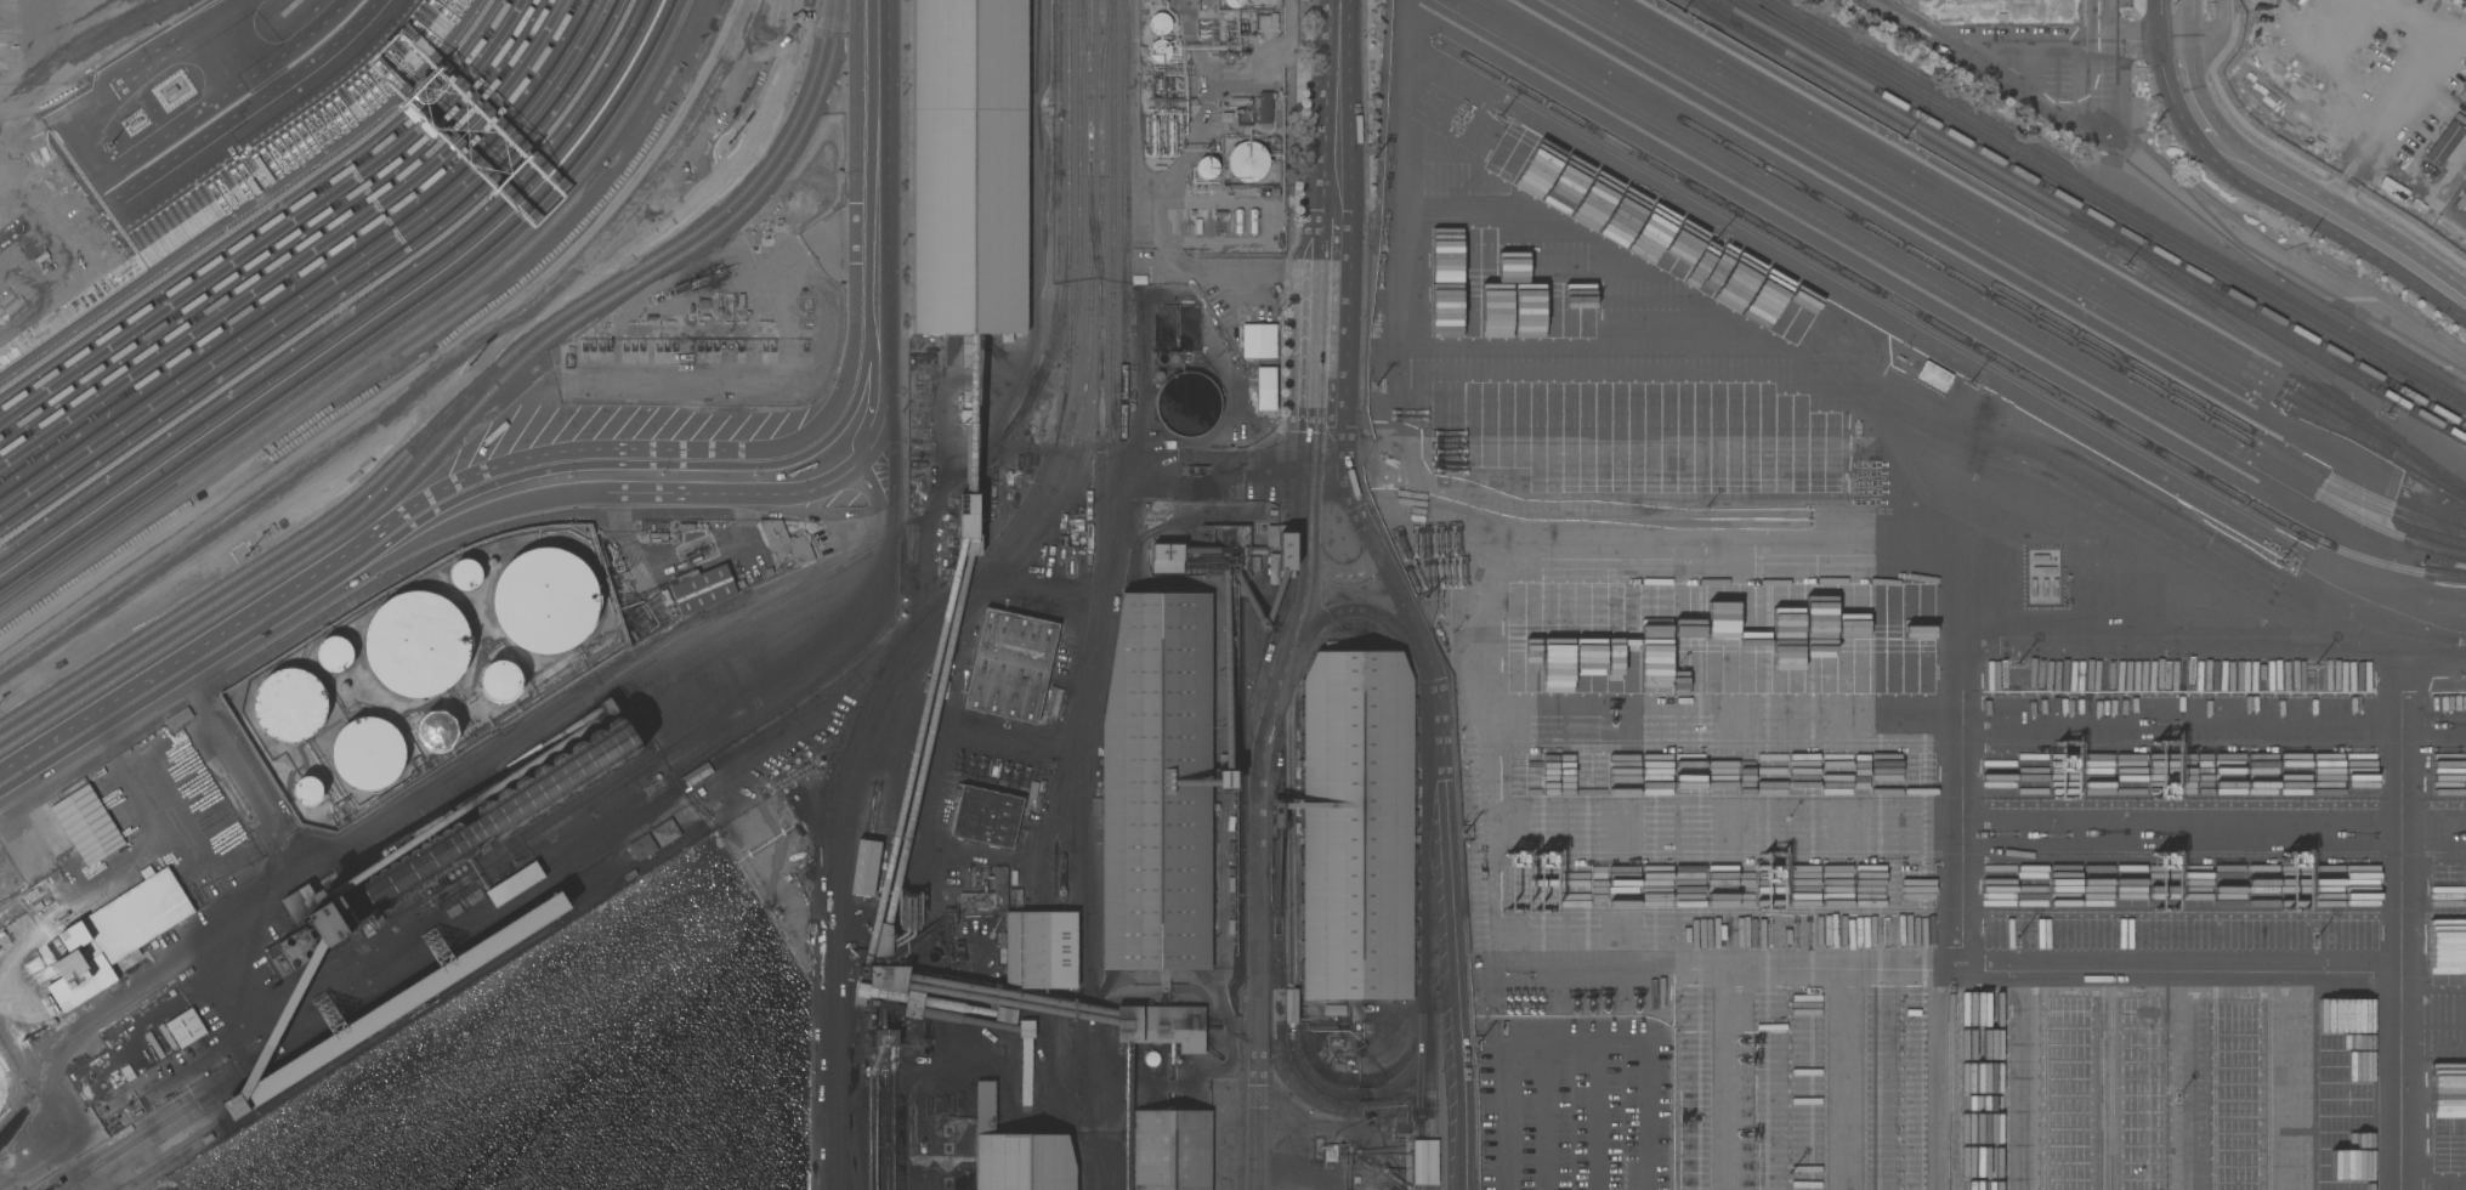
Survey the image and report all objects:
building: (1235, 2)
railway: (1719, 12)
building: (1160, 23)
road: (2165, 23)
road: (2186, 23)
road: (2210, 33)
road: (2119, 44)
railway: (1089, 47)
railway: (1109, 47)
road: (2030, 47)
building: (1160, 50)
road: (2188, 92)
road: (2025, 93)
building: (2464, 96)
building: (1265, 109)
street lamp: (1503, 115)
street lamp: (1901, 137)
building: (2444, 142)
building: (1248, 160)
building: (970, 166)
building: (1207, 166)
road: (1338, 182)
railway: (2074, 182)
railway: (1082, 193)
railway: (2121, 195)
building: (2461, 203)
railway: (2091, 212)
railway: (2081, 219)
building: (1237, 220)
railway: (2009, 220)
building: (1253, 221)
railway: (1071, 225)
railway: (1093, 225)
road: (2337, 226)
railway: (1983, 229)
street lamp: (1717, 238)
railway: (1098, 240)
railway: (1099, 240)
railway: (2033, 246)
street lamp: (2127, 265)
railway: (1115, 266)
road: (1276, 272)
road: (1881, 273)
railway: (1977, 273)
railway: (1963, 279)
road: (2037, 283)
railway: (1952, 287)
railway: (1104, 306)
road: (1886, 321)
railway: (1943, 330)
railway: (1056, 333)
building: (1258, 340)
railway: (2290, 363)
road: (1328, 365)
building: (1934, 376)
street lamp: (1968, 382)
railway: (2430, 382)
railway: (2430, 386)
railway: (1099, 387)
building: (1265, 387)
railway: (461, 399)
railway: (1127, 399)
building: (1187, 403)
railway: (2416, 403)
road: (1889, 407)
railway: (470, 414)
road: (829, 461)
building: (355, 464)
road: (1285, 474)
railway: (965, 484)
road: (1438, 504)
building: (969, 523)
building: (1272, 535)
building: (656, 537)
building: (786, 544)
building: (1286, 550)
building: (1167, 557)
building: (1274, 568)
building: (465, 574)
road: (1344, 576)
building: (703, 588)
railway: (238, 589)
building: (1629, 594)
building: (545, 601)
road: (1357, 611)
building: (418, 644)
building: (335, 653)
railway: (1092, 658)
street lamp: (2016, 662)
street lamp: (2312, 663)
building: (1010, 665)
road: (2215, 665)
road: (186, 668)
road: (773, 670)
building: (500, 680)
building: (290, 704)
building: (610, 707)
building: (178, 718)
building: (436, 731)
road: (2213, 738)
building: (368, 753)
railway: (1060, 777)
building: (1225, 778)
building: (1157, 784)
building: (986, 815)
road: (1963, 816)
road: (1442, 823)
building: (87, 824)
building: (1357, 826)
road: (1258, 827)
building: (478, 828)
silo: (478, 828)
building: (665, 832)
road: (1833, 833)
building: (642, 846)
building: (866, 867)
building: (512, 884)
building: (1016, 886)
road: (262, 890)
building: (988, 892)
road: (2404, 926)
road: (1291, 931)
railway: (1084, 933)
building: (115, 935)
street lamp: (2016, 939)
building: (883, 940)
street lamp: (2308, 940)
building: (299, 943)
building: (1041, 950)
railway: (1044, 950)
railway: (1064, 950)
road: (353, 952)
road: (2101, 969)
road: (1423, 973)
building: (889, 977)
building: (913, 1003)
building: (395, 1005)
building: (1291, 1005)
building: (1334, 1009)
building: (1005, 1014)
building: (1162, 1025)
building: (1026, 1028)
road: (1645, 1031)
building: (176, 1032)
building: (885, 1037)
road: (1498, 1056)
road: (1734, 1079)
road: (1846, 1079)
road: (2108, 1079)
road: (2196, 1079)
road: (2295, 1079)
road: (1548, 1081)
road: (1593, 1082)
railway: (1059, 1087)
railway: (1071, 1089)
railway: (852, 1106)
building: (1172, 1150)
building: (1330, 1152)
building: (1017, 1154)
building: (1424, 1162)

